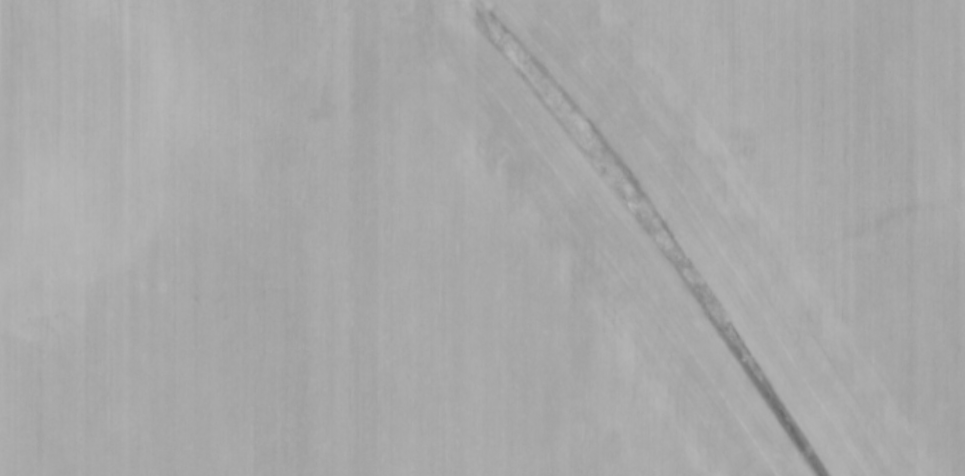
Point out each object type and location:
crop: (482, 238)

